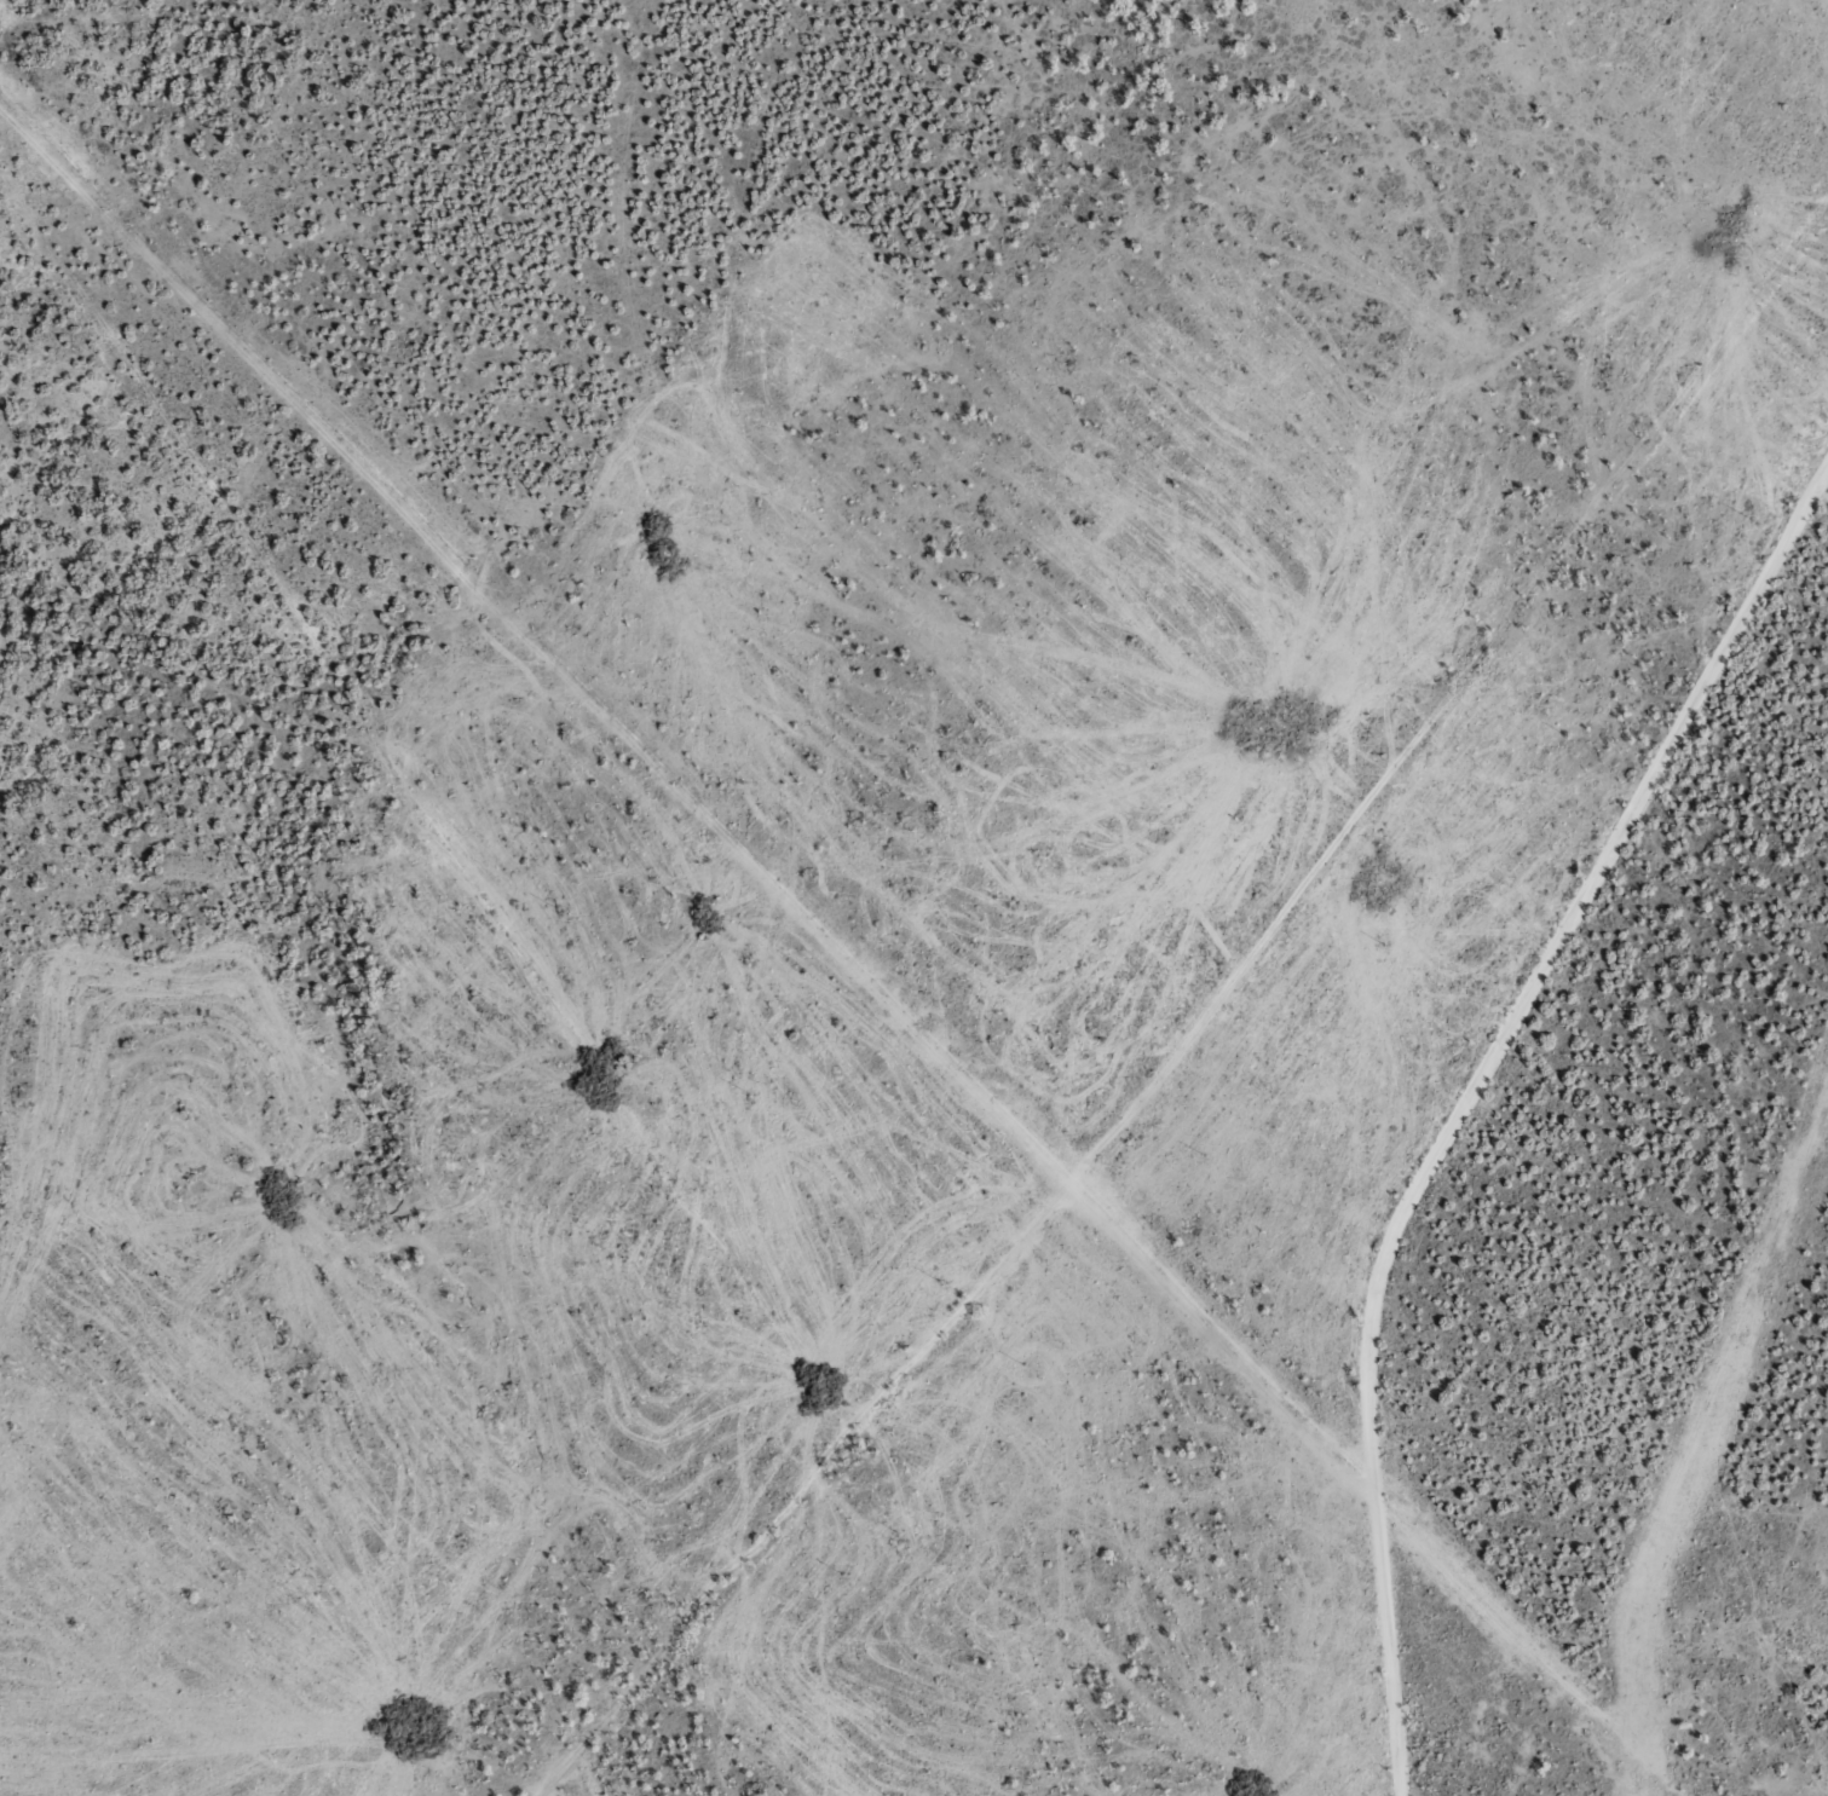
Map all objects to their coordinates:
road: (1478, 1125)

